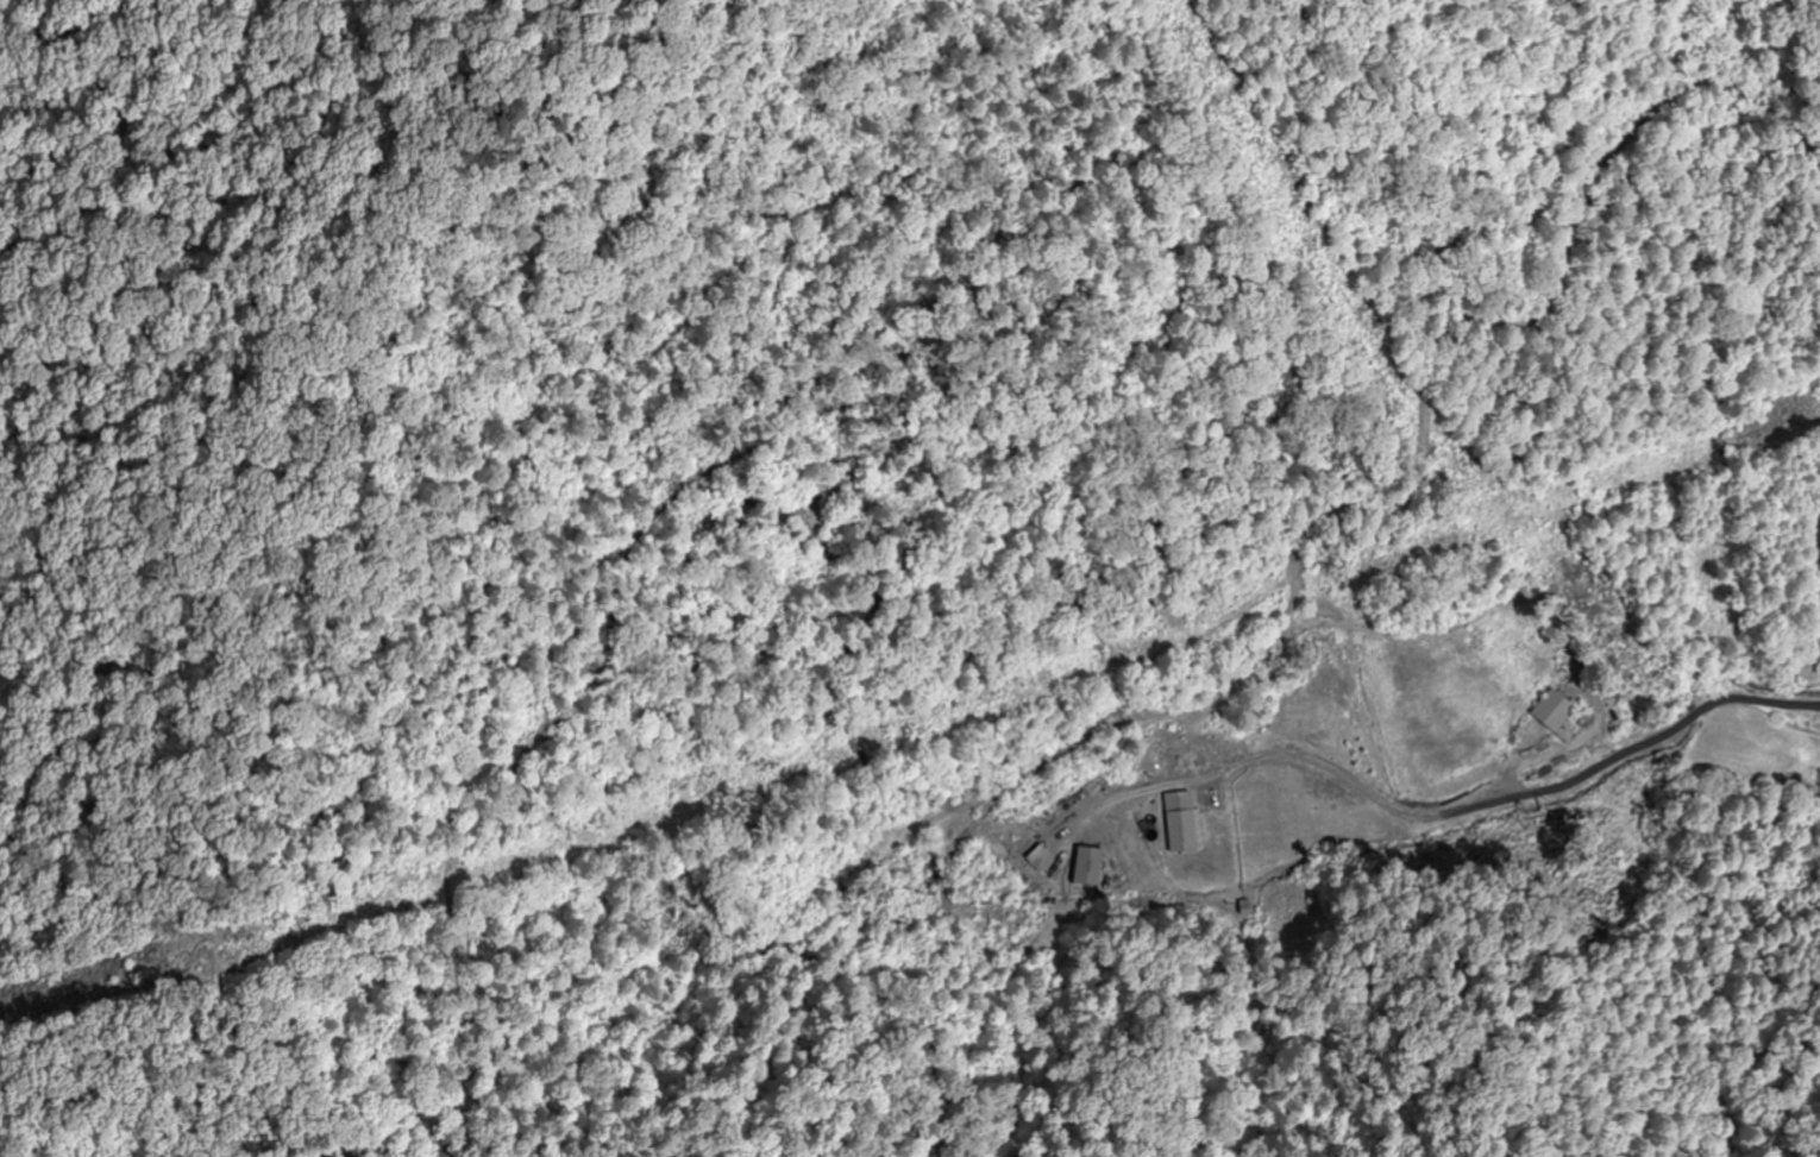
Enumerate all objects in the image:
building: (1548, 711)
road: (1514, 804)
building: (1178, 824)

